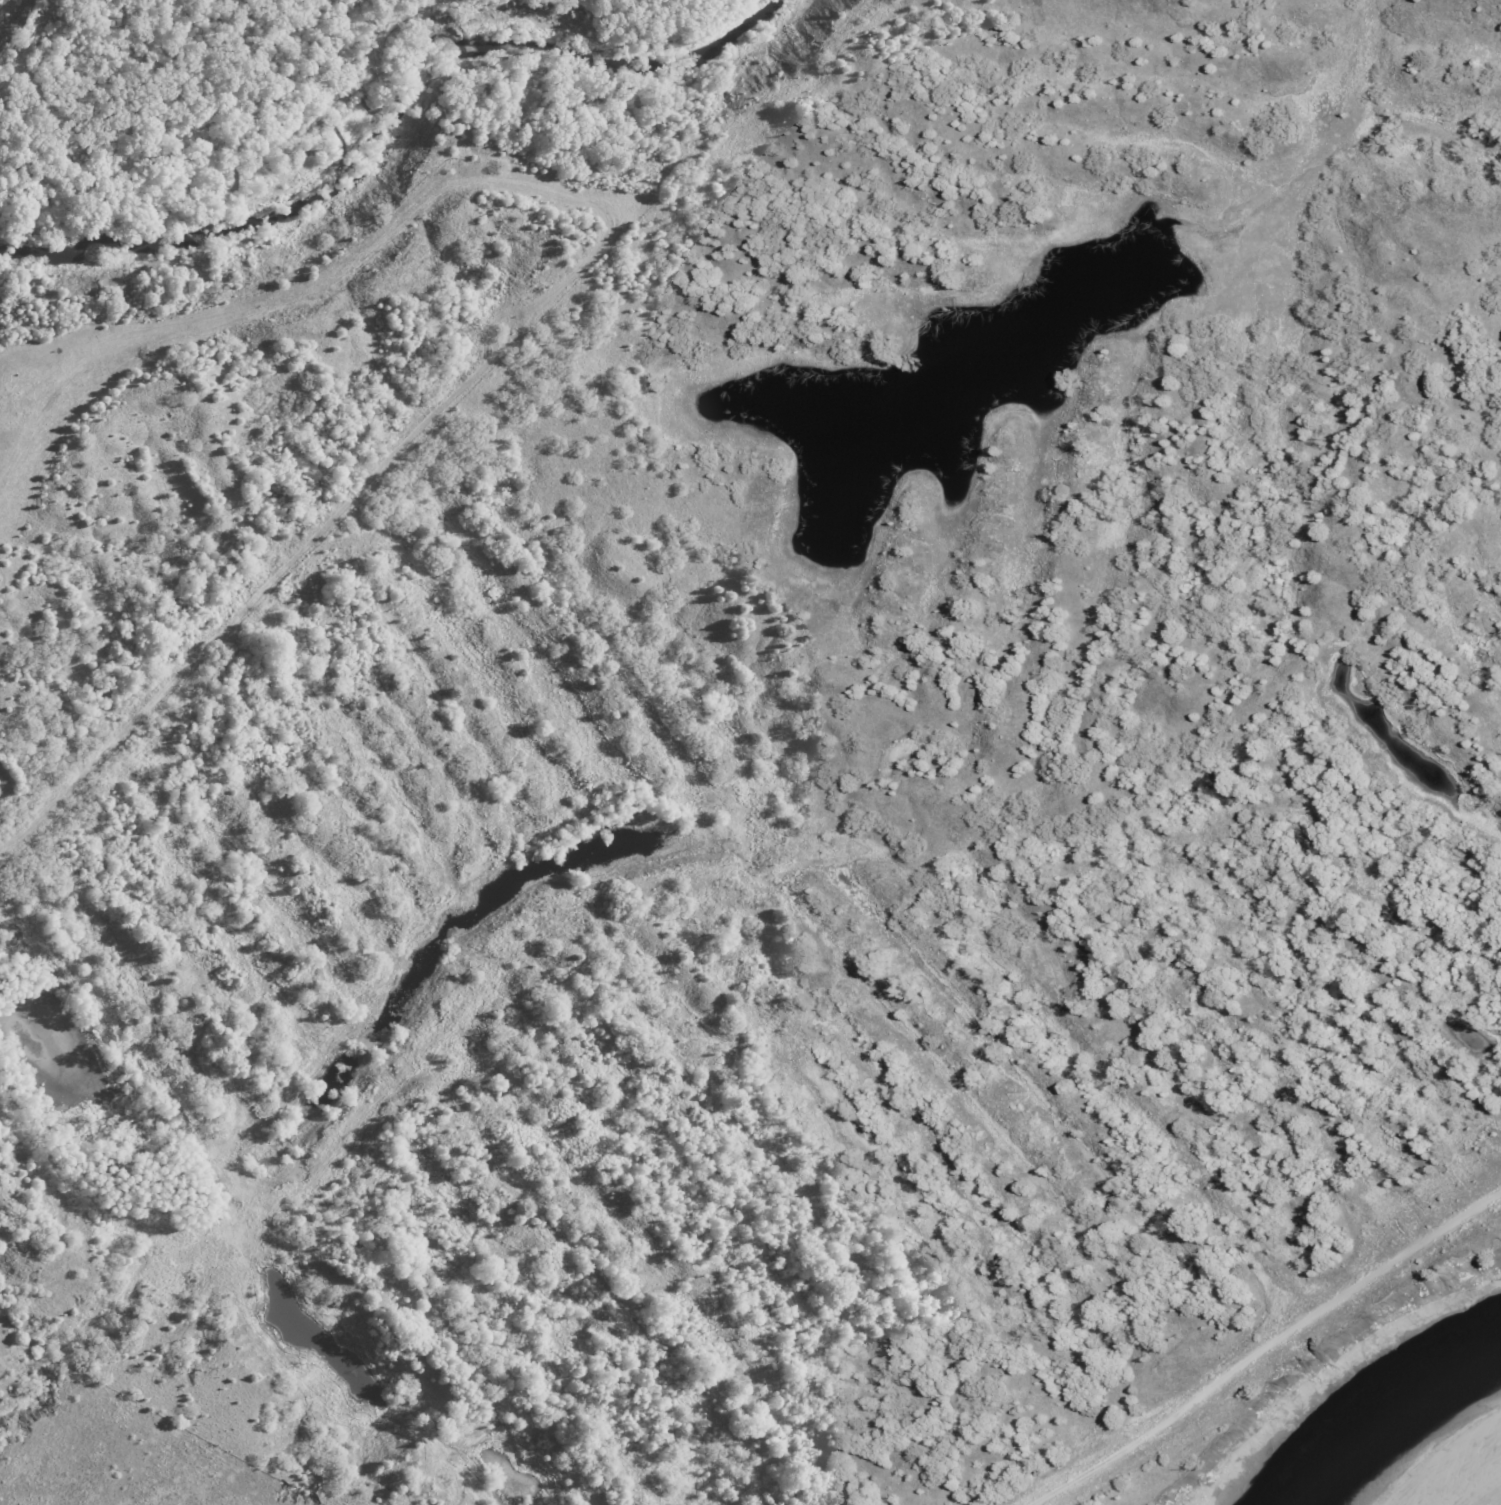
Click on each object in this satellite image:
river: (1420, 1451)

